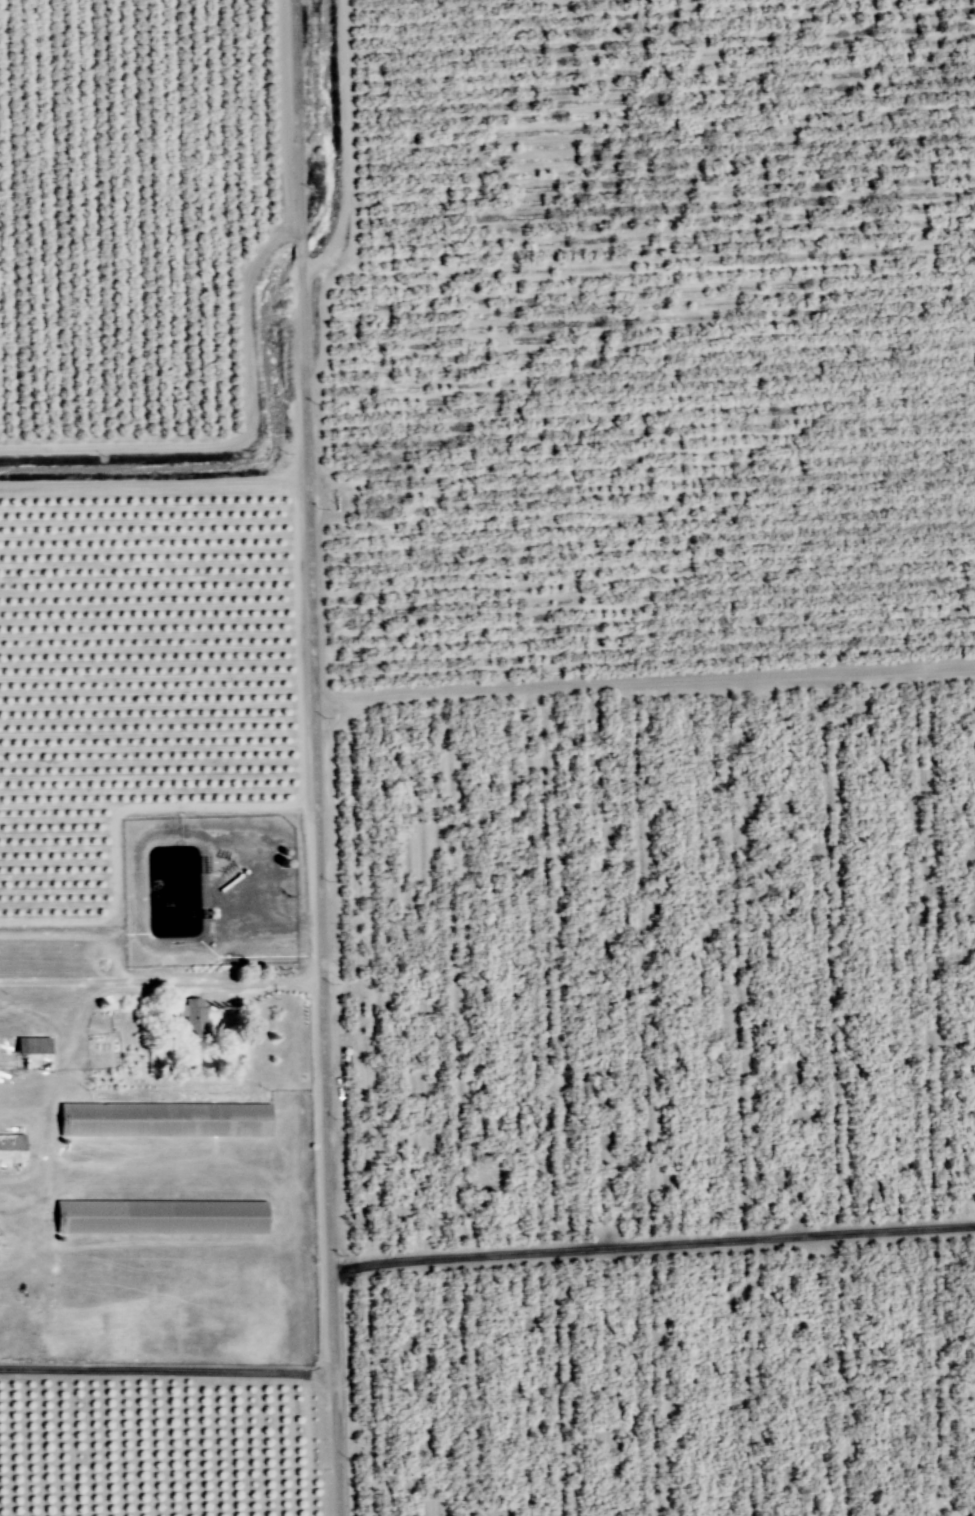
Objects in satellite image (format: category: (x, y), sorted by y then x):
road: (347, 160)
road: (238, 437)
road: (152, 485)
road: (642, 683)
road: (312, 758)
road: (116, 822)
road: (265, 922)
road: (159, 979)
building: (196, 1017)
building: (34, 1053)
building: (166, 1119)
building: (12, 1150)
building: (161, 1216)
road: (652, 1246)
road: (165, 1370)

